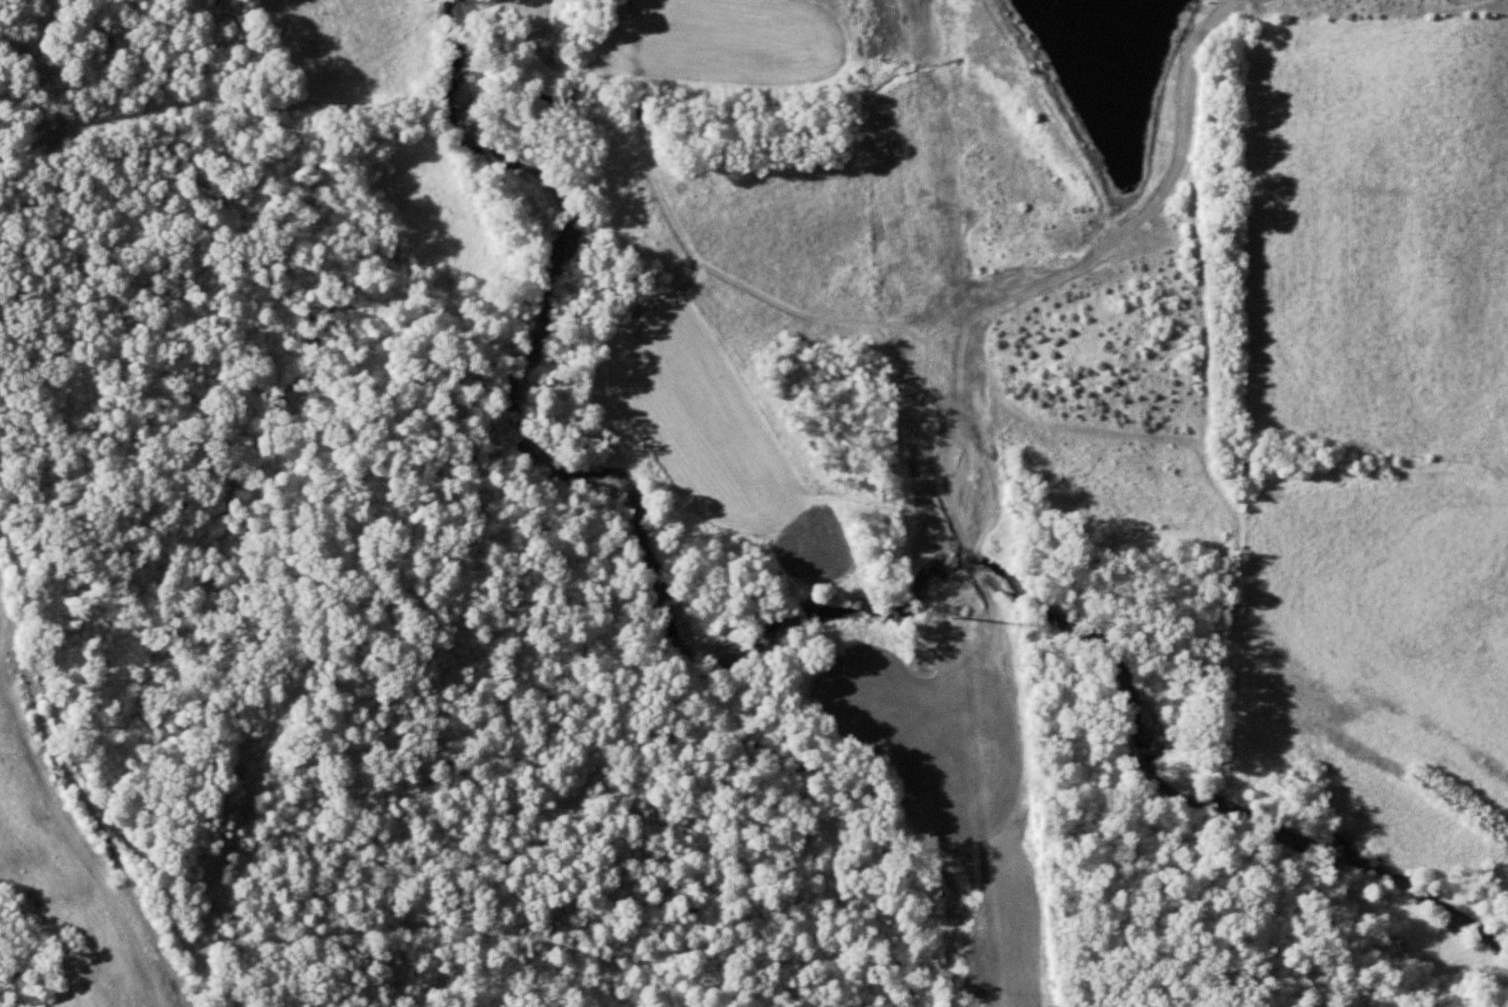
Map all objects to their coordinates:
power tower: (951, 616)

